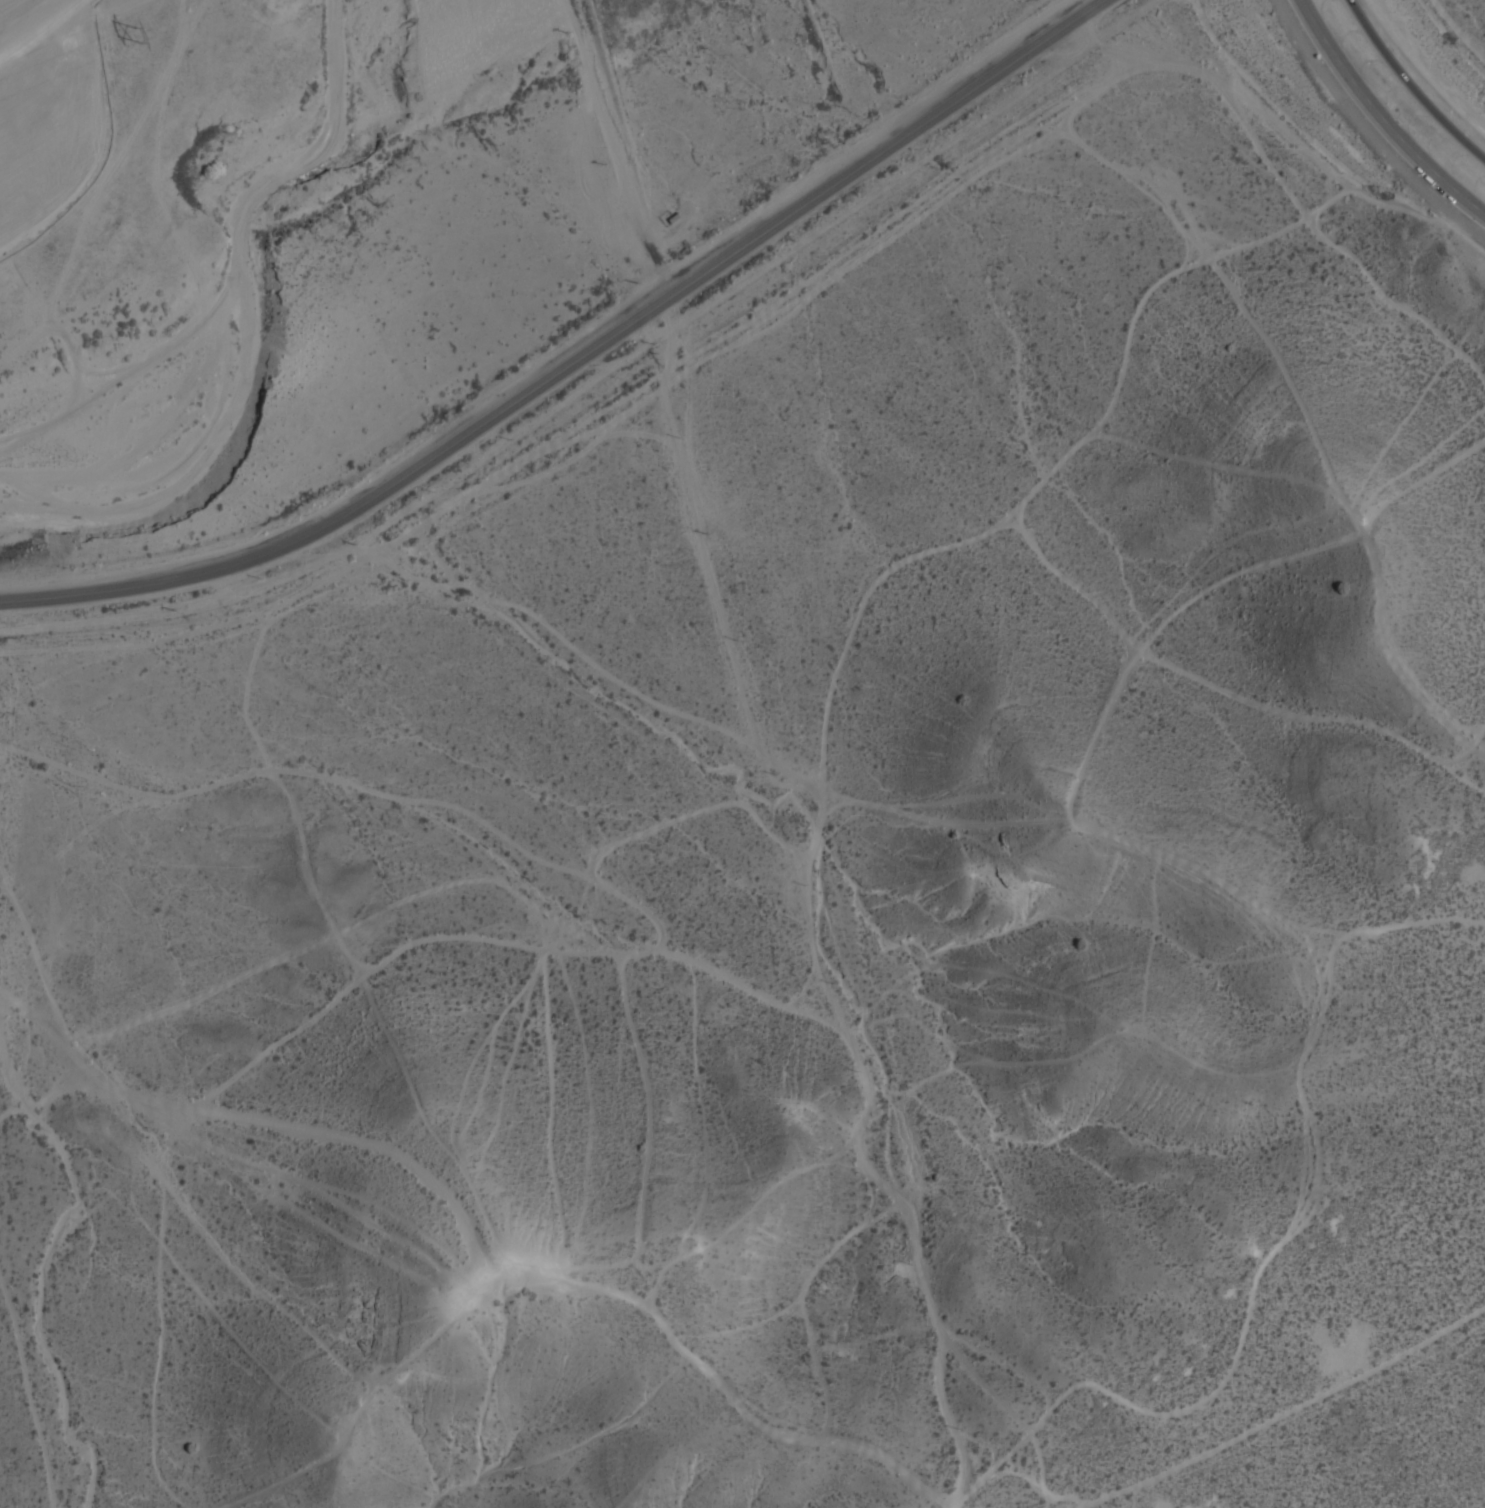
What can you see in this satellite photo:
power tower: (135, 32)
road: (1410, 84)
road: (1376, 118)
road: (1363, 132)
road: (884, 149)
road: (356, 507)

